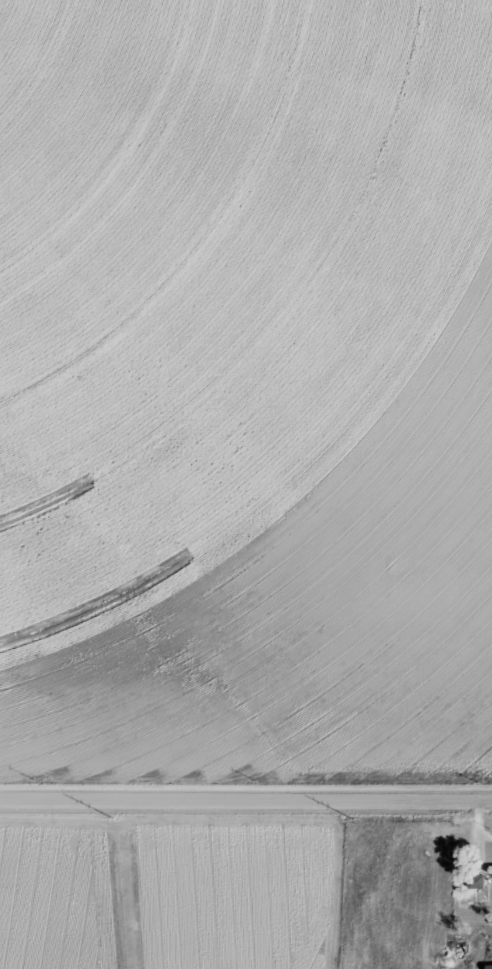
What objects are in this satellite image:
road: (246, 805)

